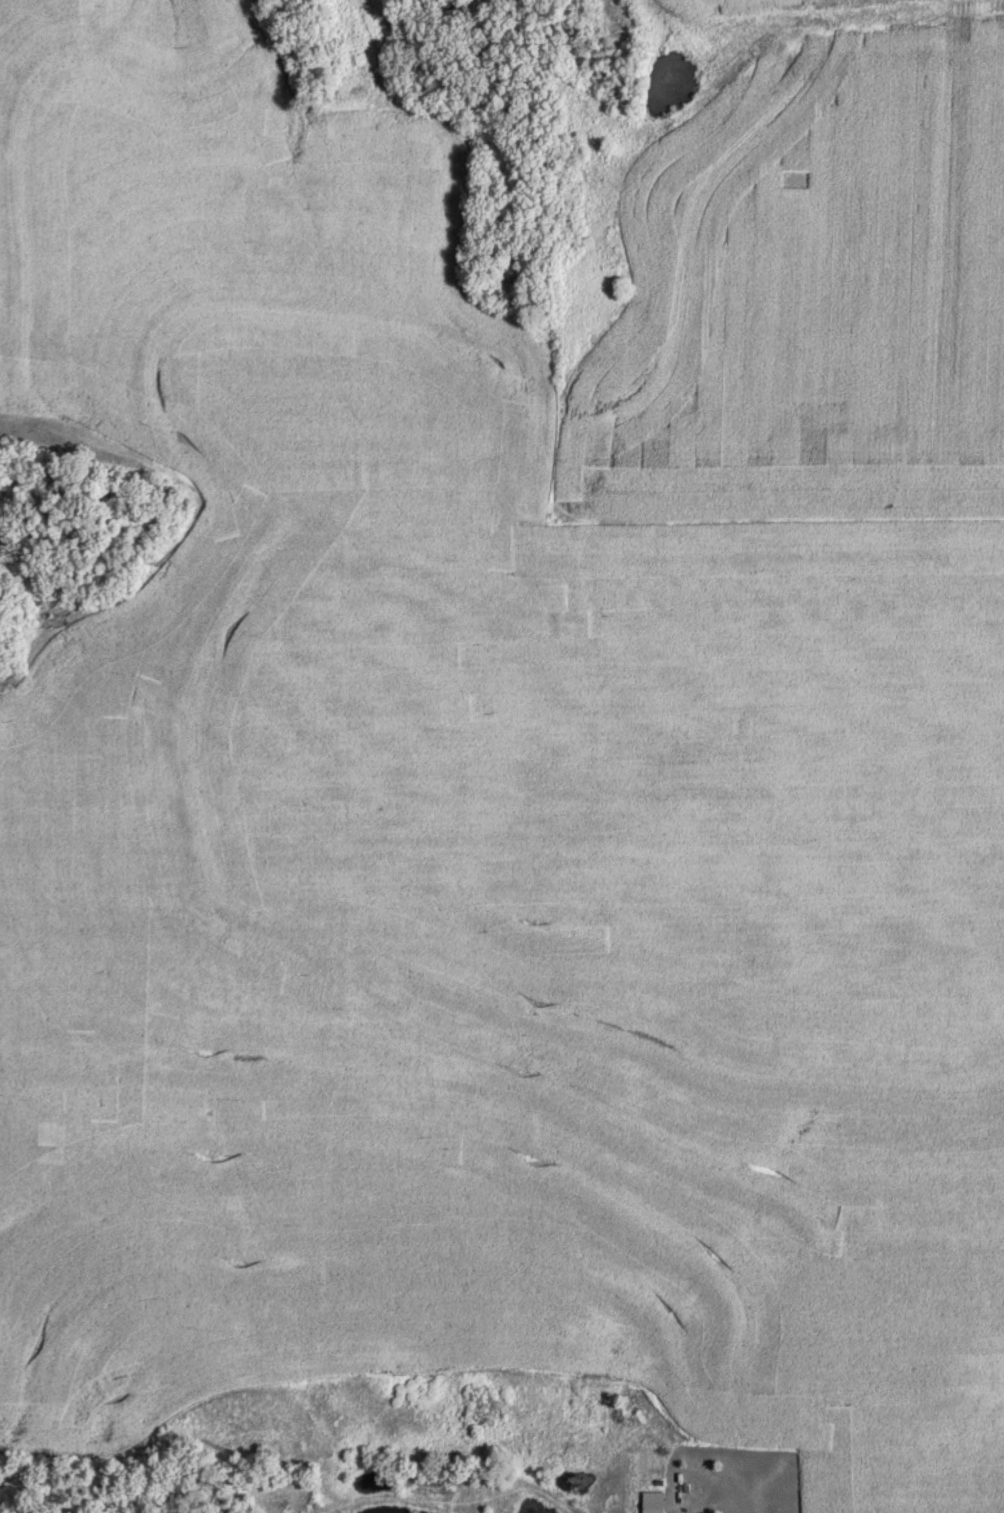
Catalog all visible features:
crop: (806, 288)
crop: (459, 611)
crop: (464, 1210)
building: (655, 1502)

